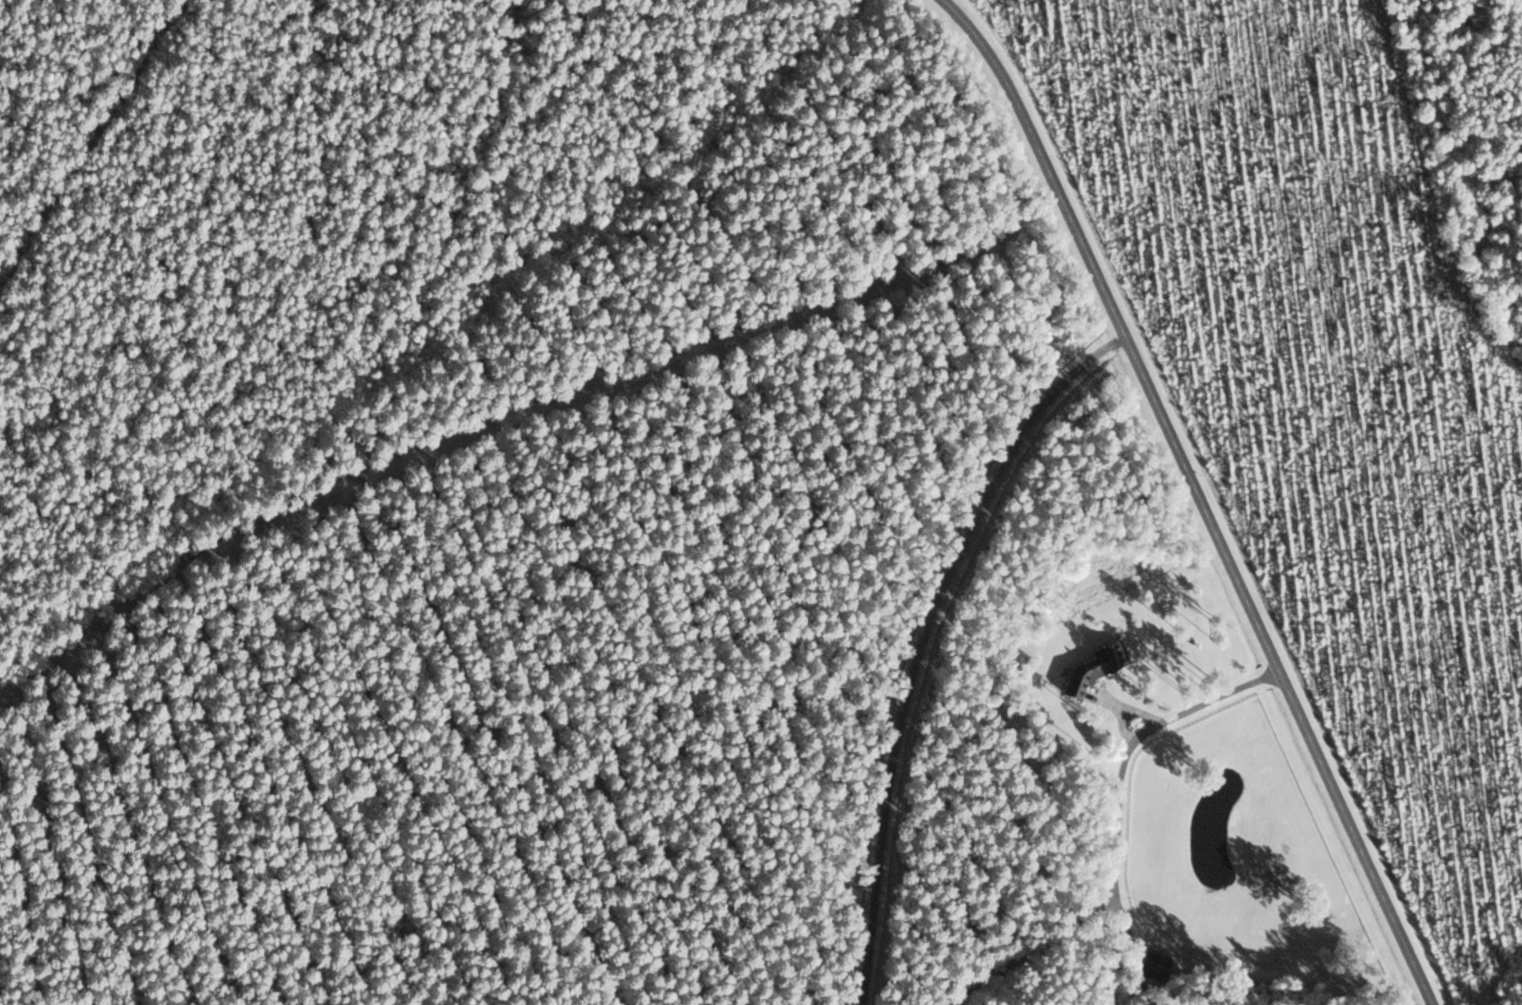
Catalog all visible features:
road: (1197, 496)
building: (1096, 665)
road: (1173, 718)

